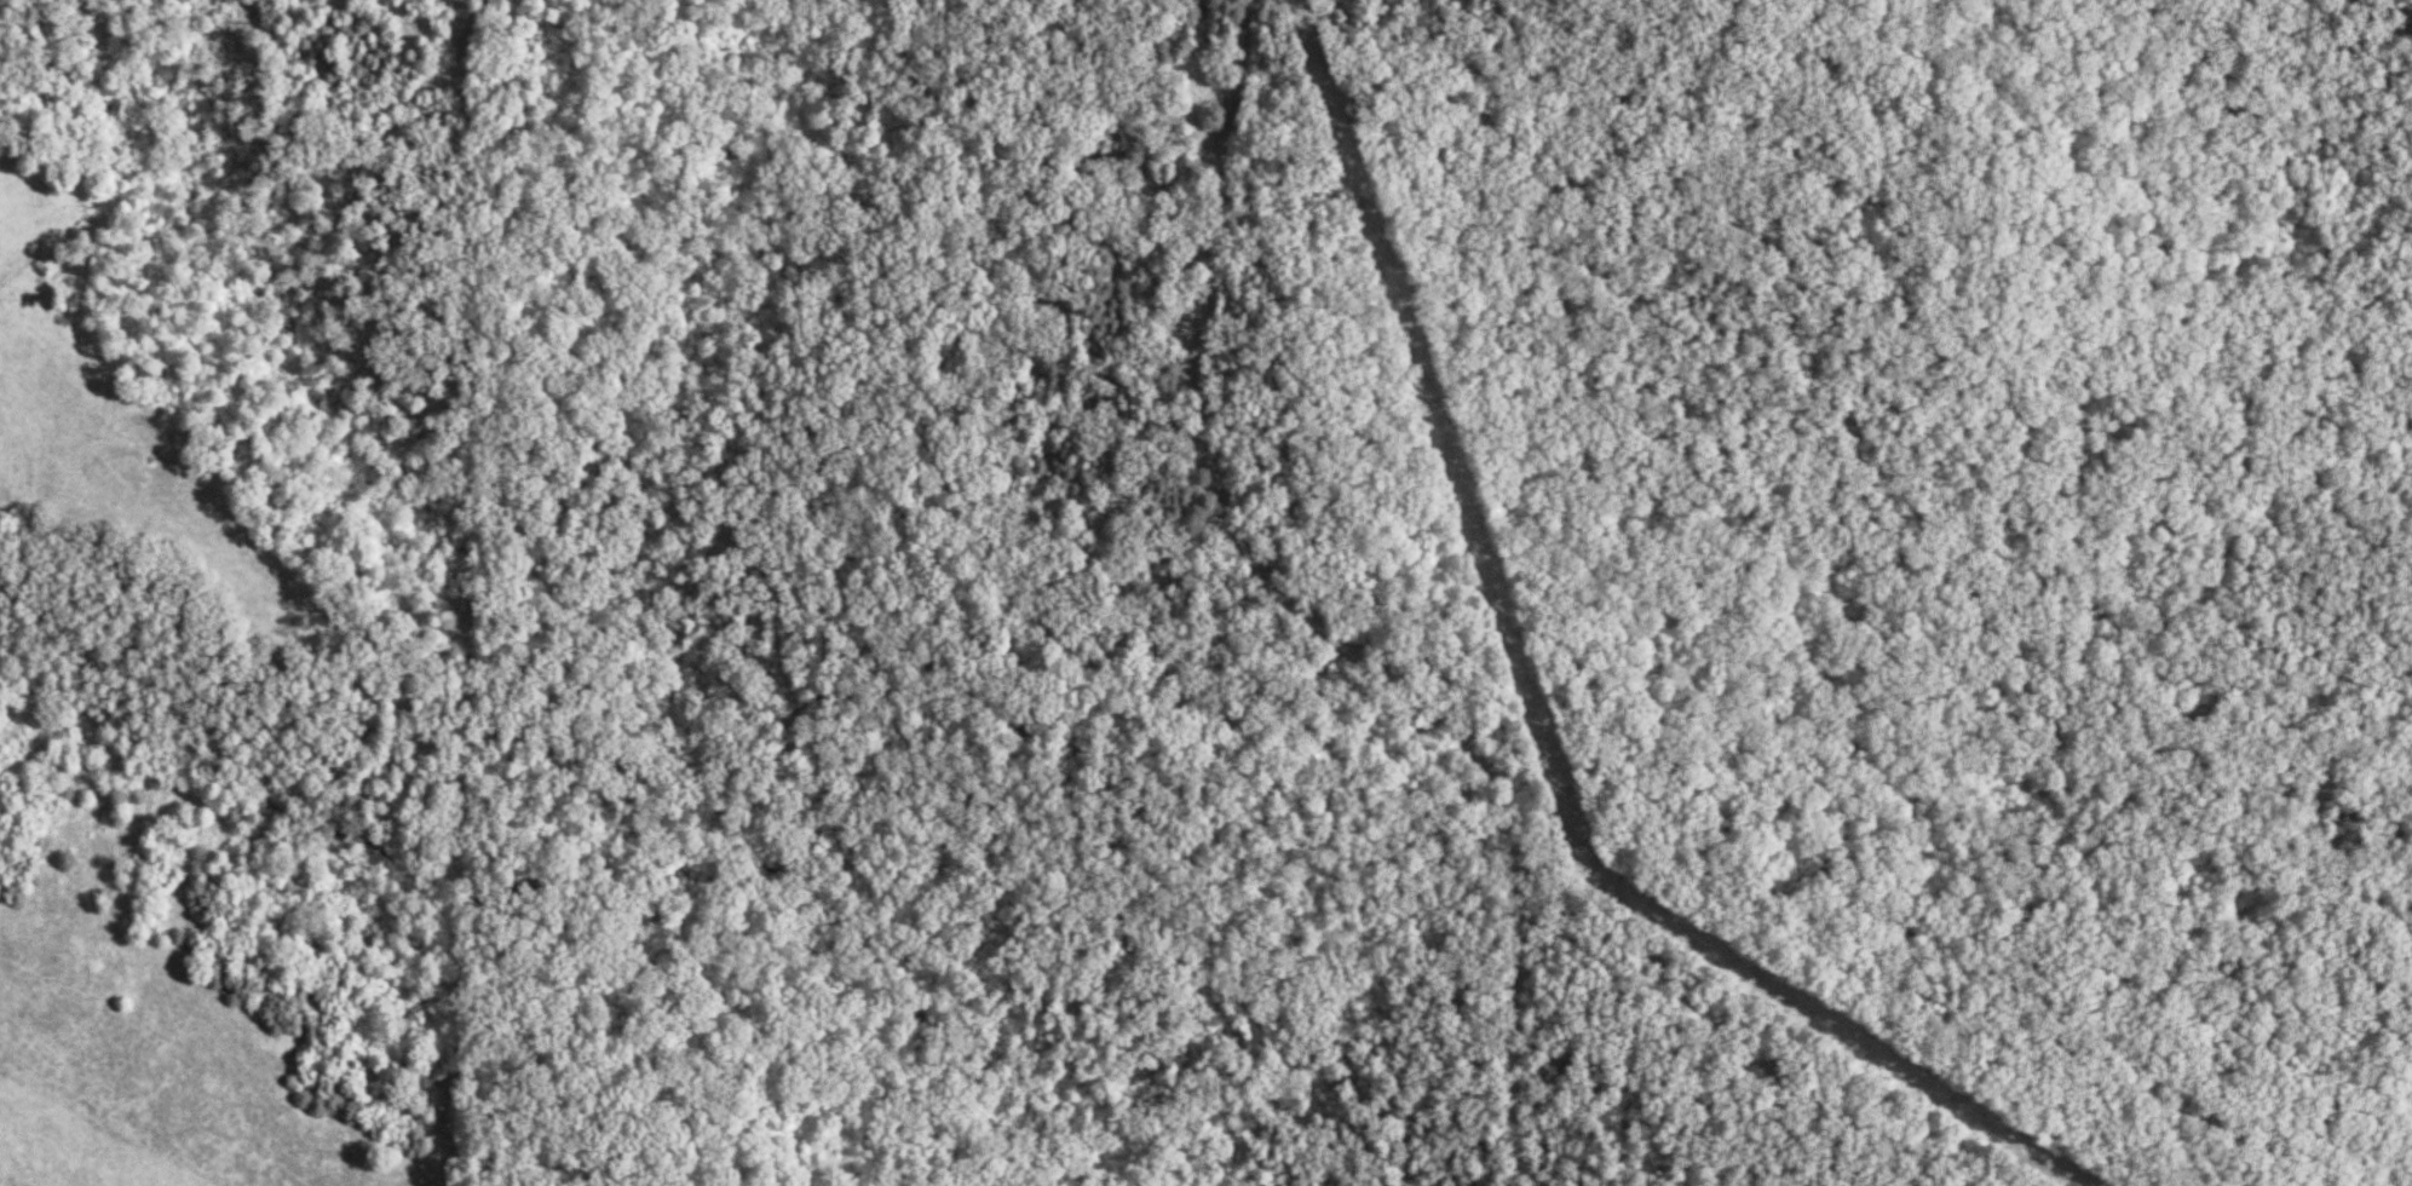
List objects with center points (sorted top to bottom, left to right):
road: (1309, 622)
road: (1826, 1029)

